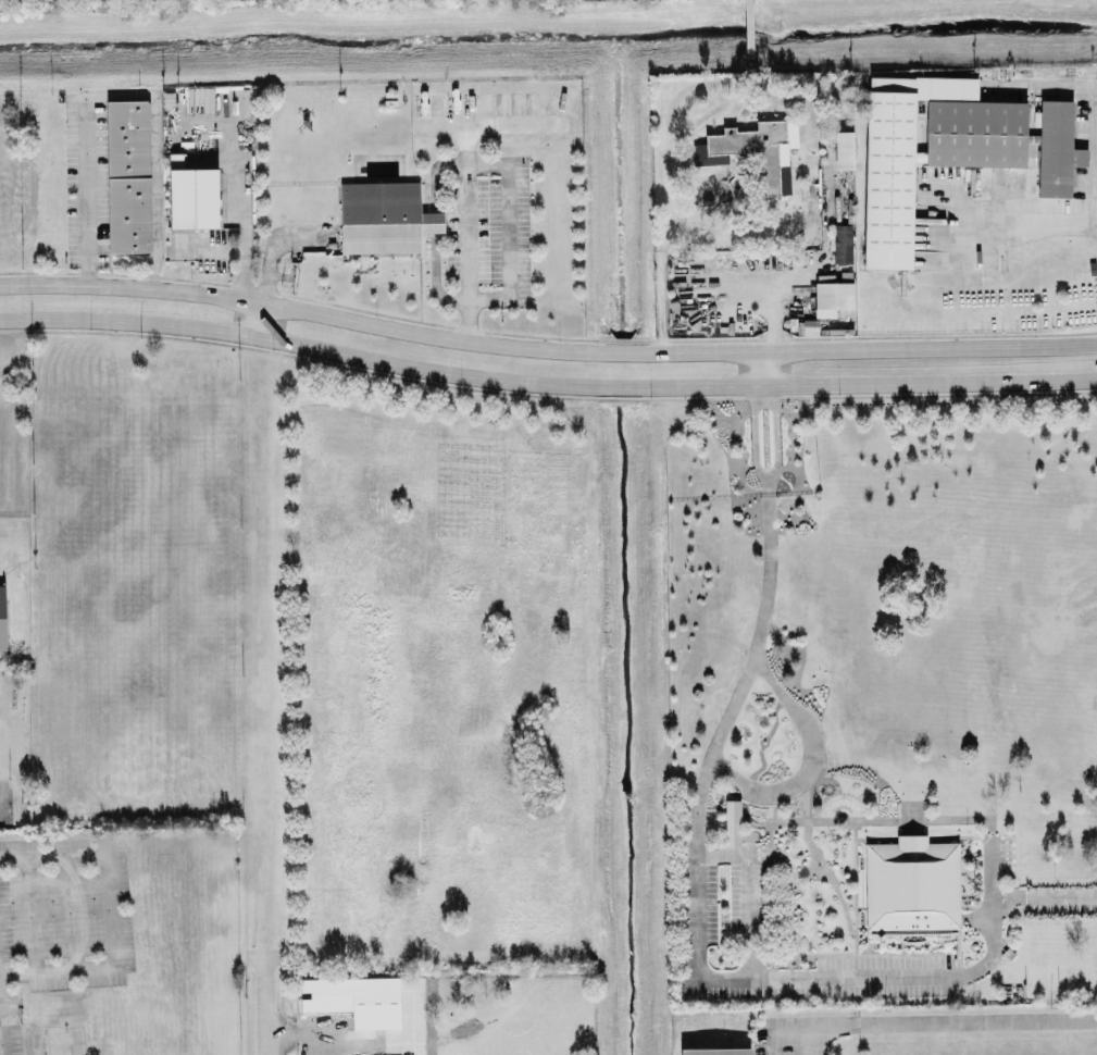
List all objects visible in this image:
road: (117, 95)
road: (489, 124)
building: (948, 148)
building: (844, 149)
building: (755, 150)
road: (475, 163)
building: (128, 175)
road: (239, 176)
building: (192, 197)
building: (384, 215)
road: (1029, 215)
road: (464, 232)
road: (272, 243)
building: (842, 243)
road: (207, 250)
building: (832, 296)
road: (250, 318)
road: (125, 321)
road: (381, 323)
building: (810, 326)
road: (1090, 343)
road: (923, 347)
road: (762, 368)
road: (672, 386)
road: (753, 433)
building: (2, 617)
road: (777, 686)
road: (697, 800)
road: (1, 808)
road: (719, 855)
building: (911, 883)
road: (1044, 896)
road: (67, 913)
road: (27, 914)
road: (109, 917)
road: (903, 973)
building: (356, 998)
road: (262, 1004)
road: (918, 1022)
road: (310, 1035)
road: (803, 1040)
building: (715, 1051)

